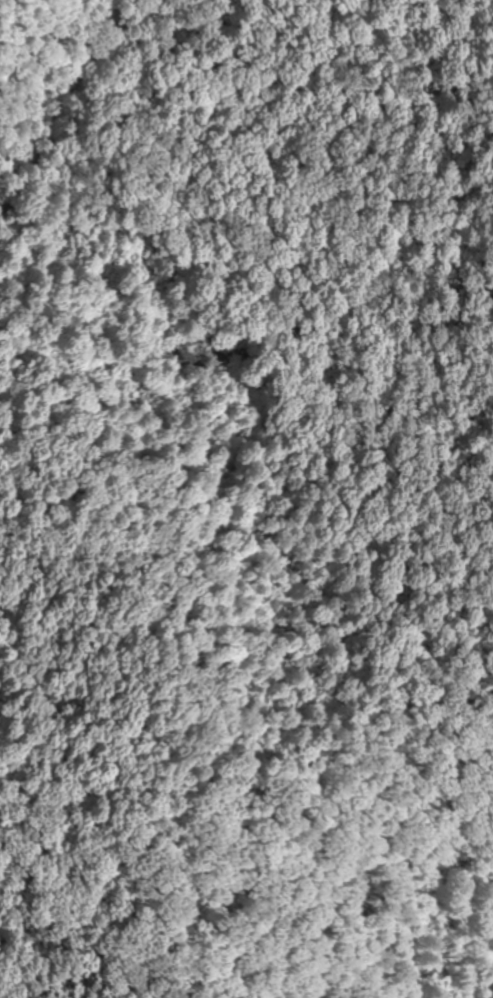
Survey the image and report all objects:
road: (246, 825)

